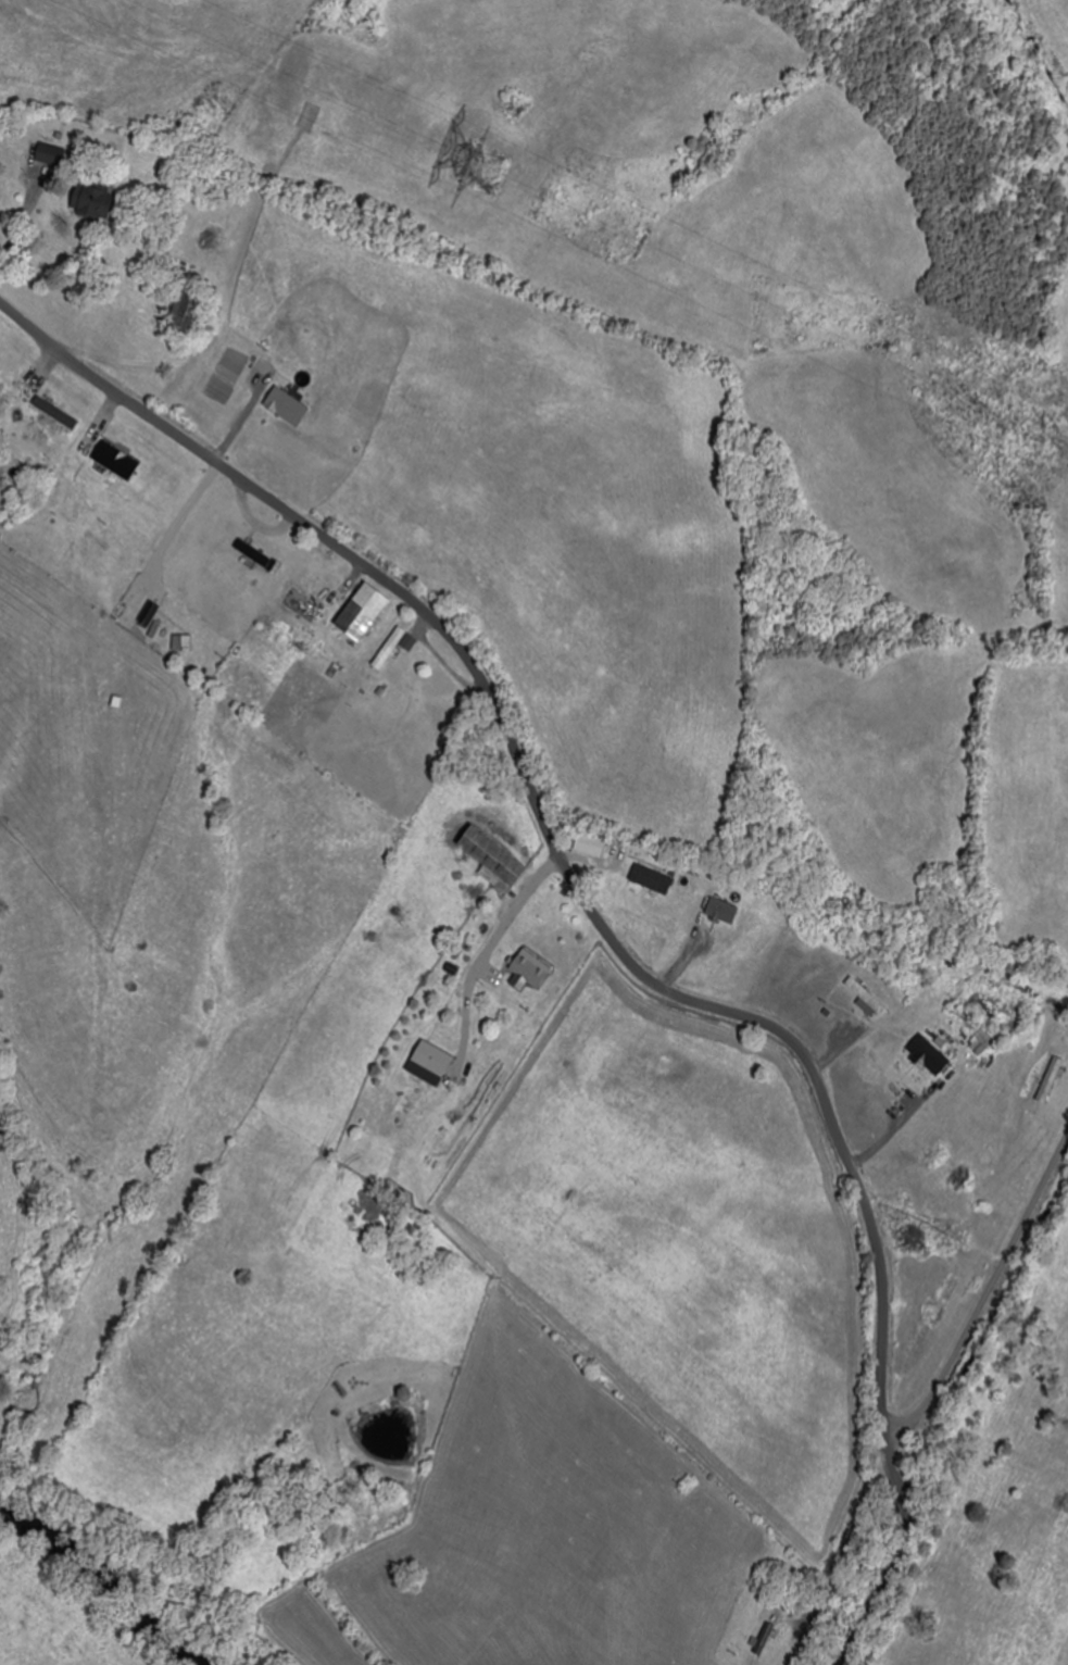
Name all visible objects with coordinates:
building: (53, 155)
power tower: (499, 160)
building: (96, 202)
building: (190, 313)
building: (56, 413)
building: (116, 461)
building: (255, 553)
building: (365, 612)
building: (178, 643)
building: (395, 648)
building: (592, 844)
building: (497, 856)
building: (653, 880)
building: (725, 912)
road: (601, 928)
building: (532, 969)
building: (870, 1000)
building: (931, 1056)
building: (436, 1059)
building: (1052, 1080)
road: (985, 1291)
river: (108, 1573)

